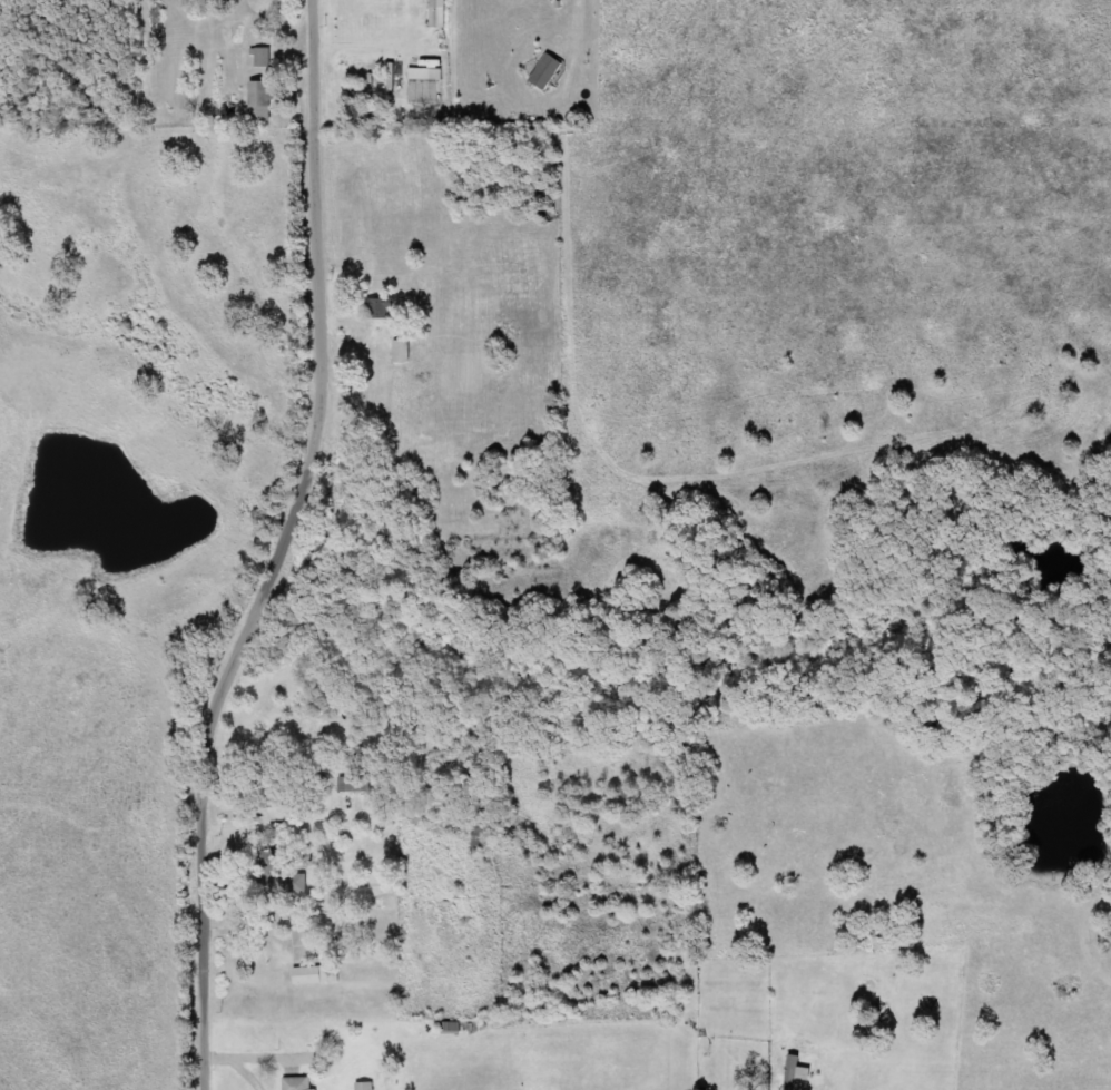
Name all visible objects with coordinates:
building: (439, 14)
building: (264, 58)
building: (548, 71)
building: (427, 75)
building: (394, 76)
building: (260, 101)
building: (381, 308)
building: (403, 351)
road: (288, 549)
building: (355, 784)
building: (278, 875)
building: (314, 975)
building: (793, 1072)
building: (298, 1083)
building: (365, 1086)

